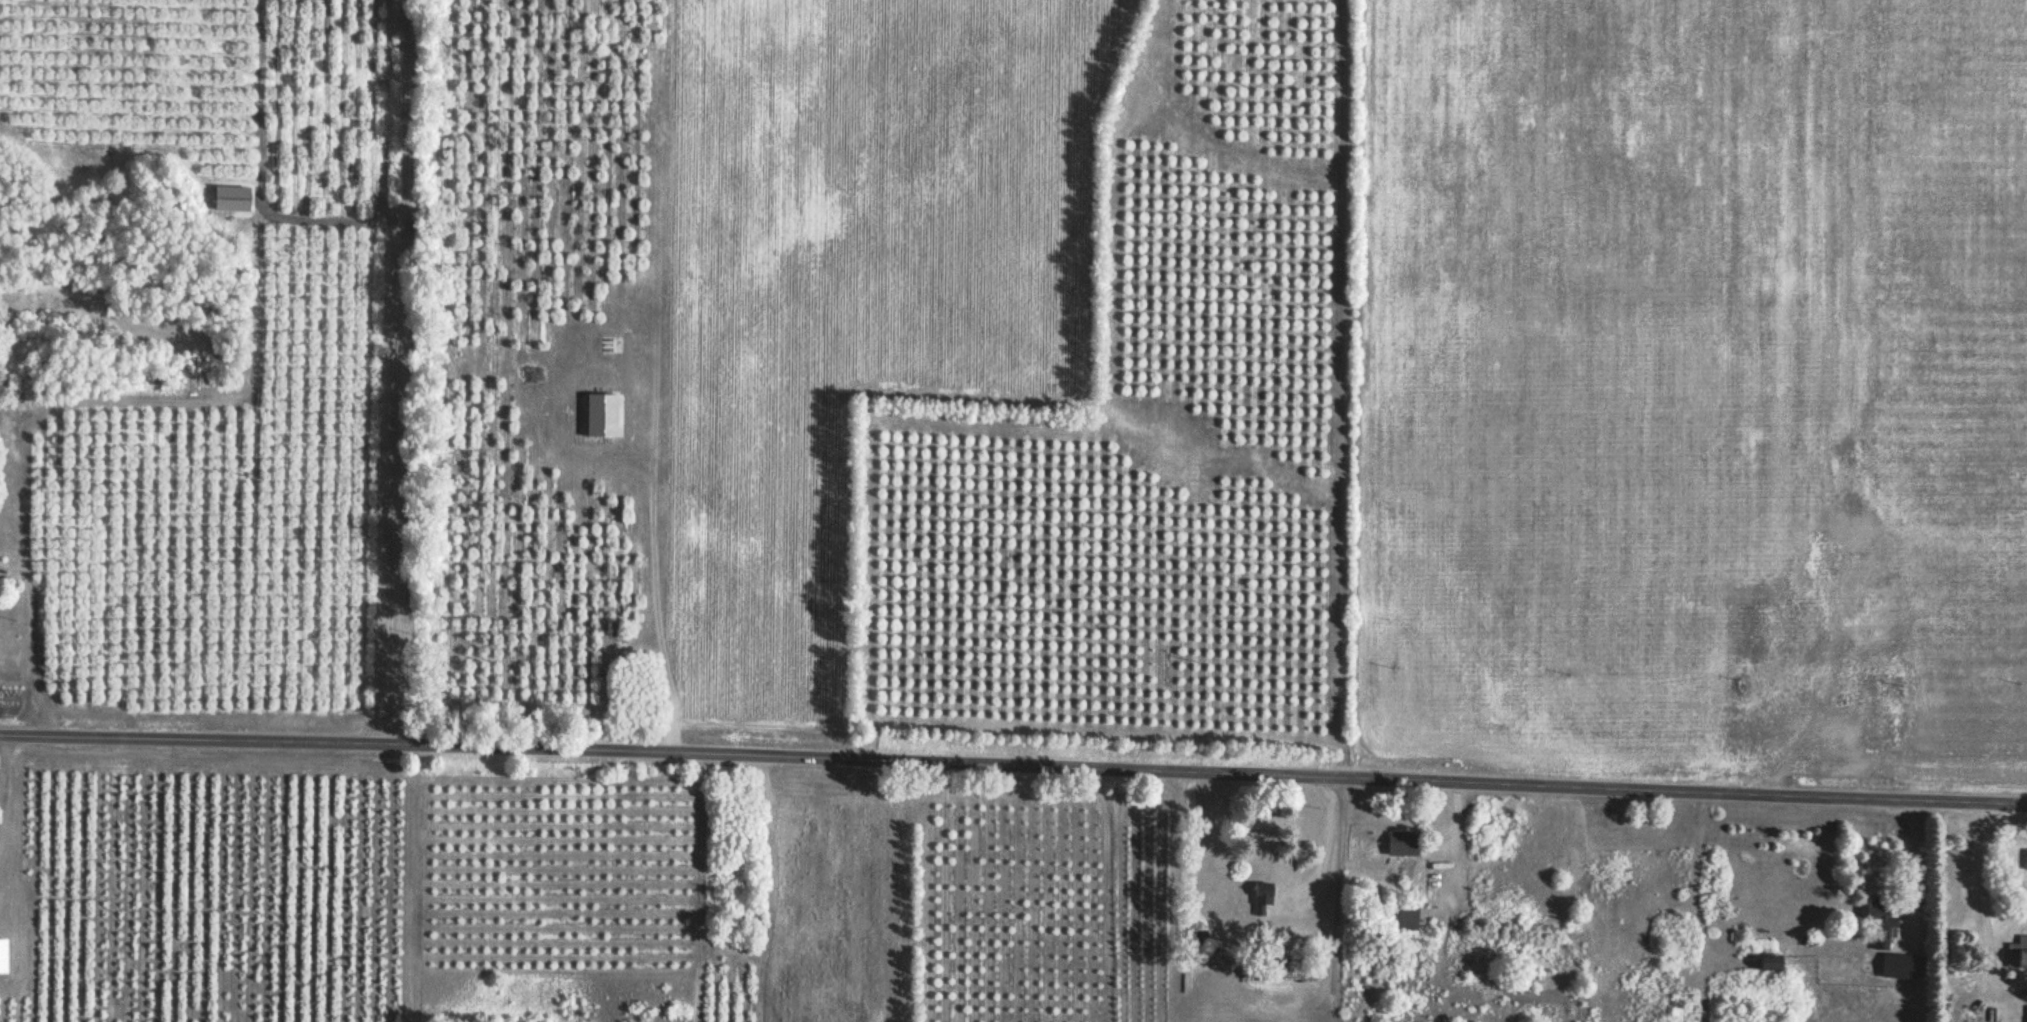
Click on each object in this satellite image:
building: (1853, 569)
building: (1, 583)
road: (574, 611)
building: (1834, 739)
road: (1013, 764)
building: (1400, 845)
building: (2026, 862)
building: (1260, 899)
building: (1401, 919)
building: (1879, 924)
building: (2016, 955)
building: (1, 957)
building: (1767, 965)
building: (1900, 968)
building: (2026, 1014)

